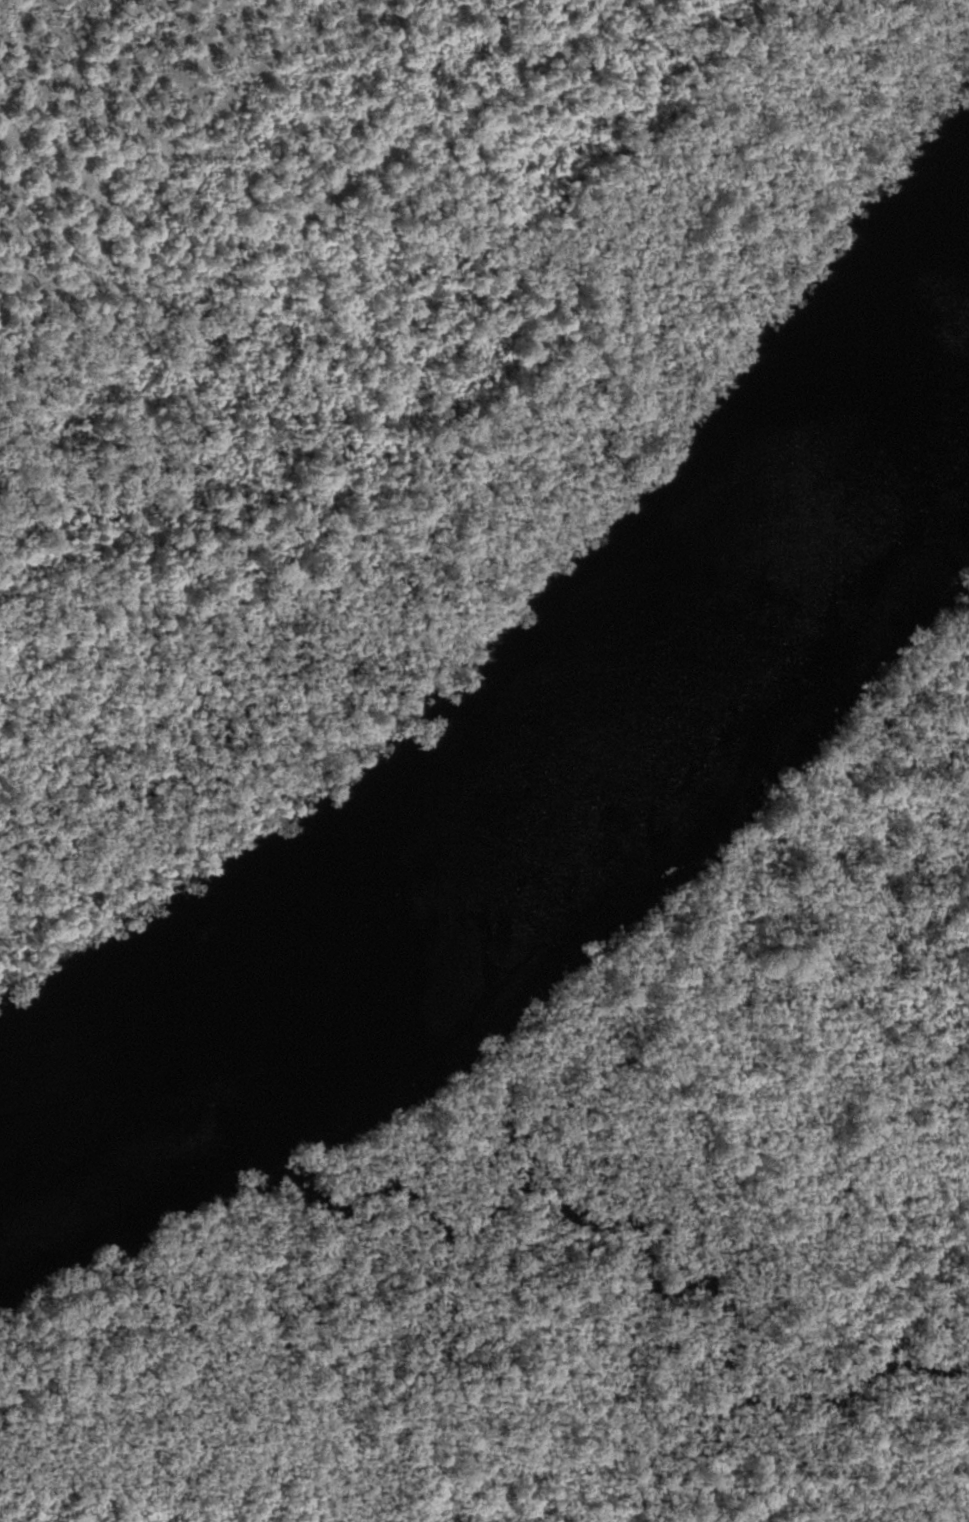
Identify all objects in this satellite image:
river: (627, 717)
river: (103, 1093)

